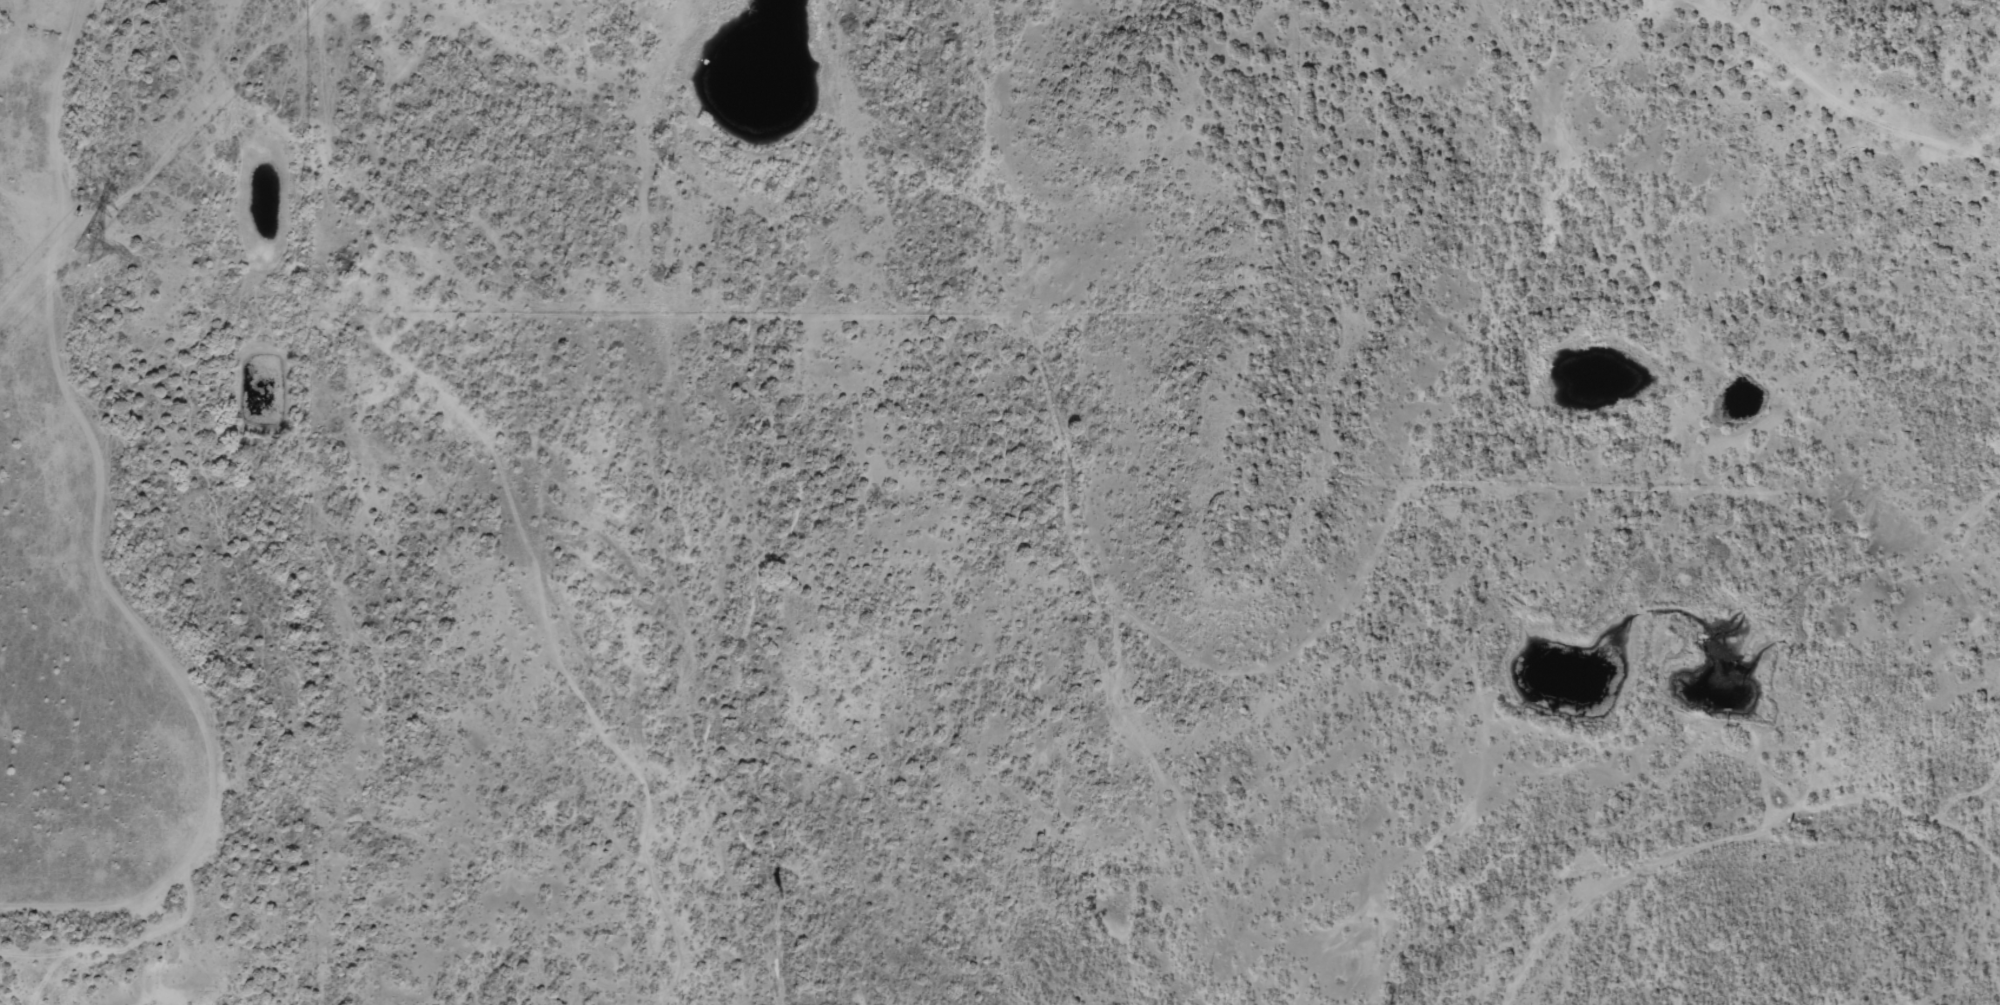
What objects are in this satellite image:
power tower: (93, 247)
road: (100, 569)

